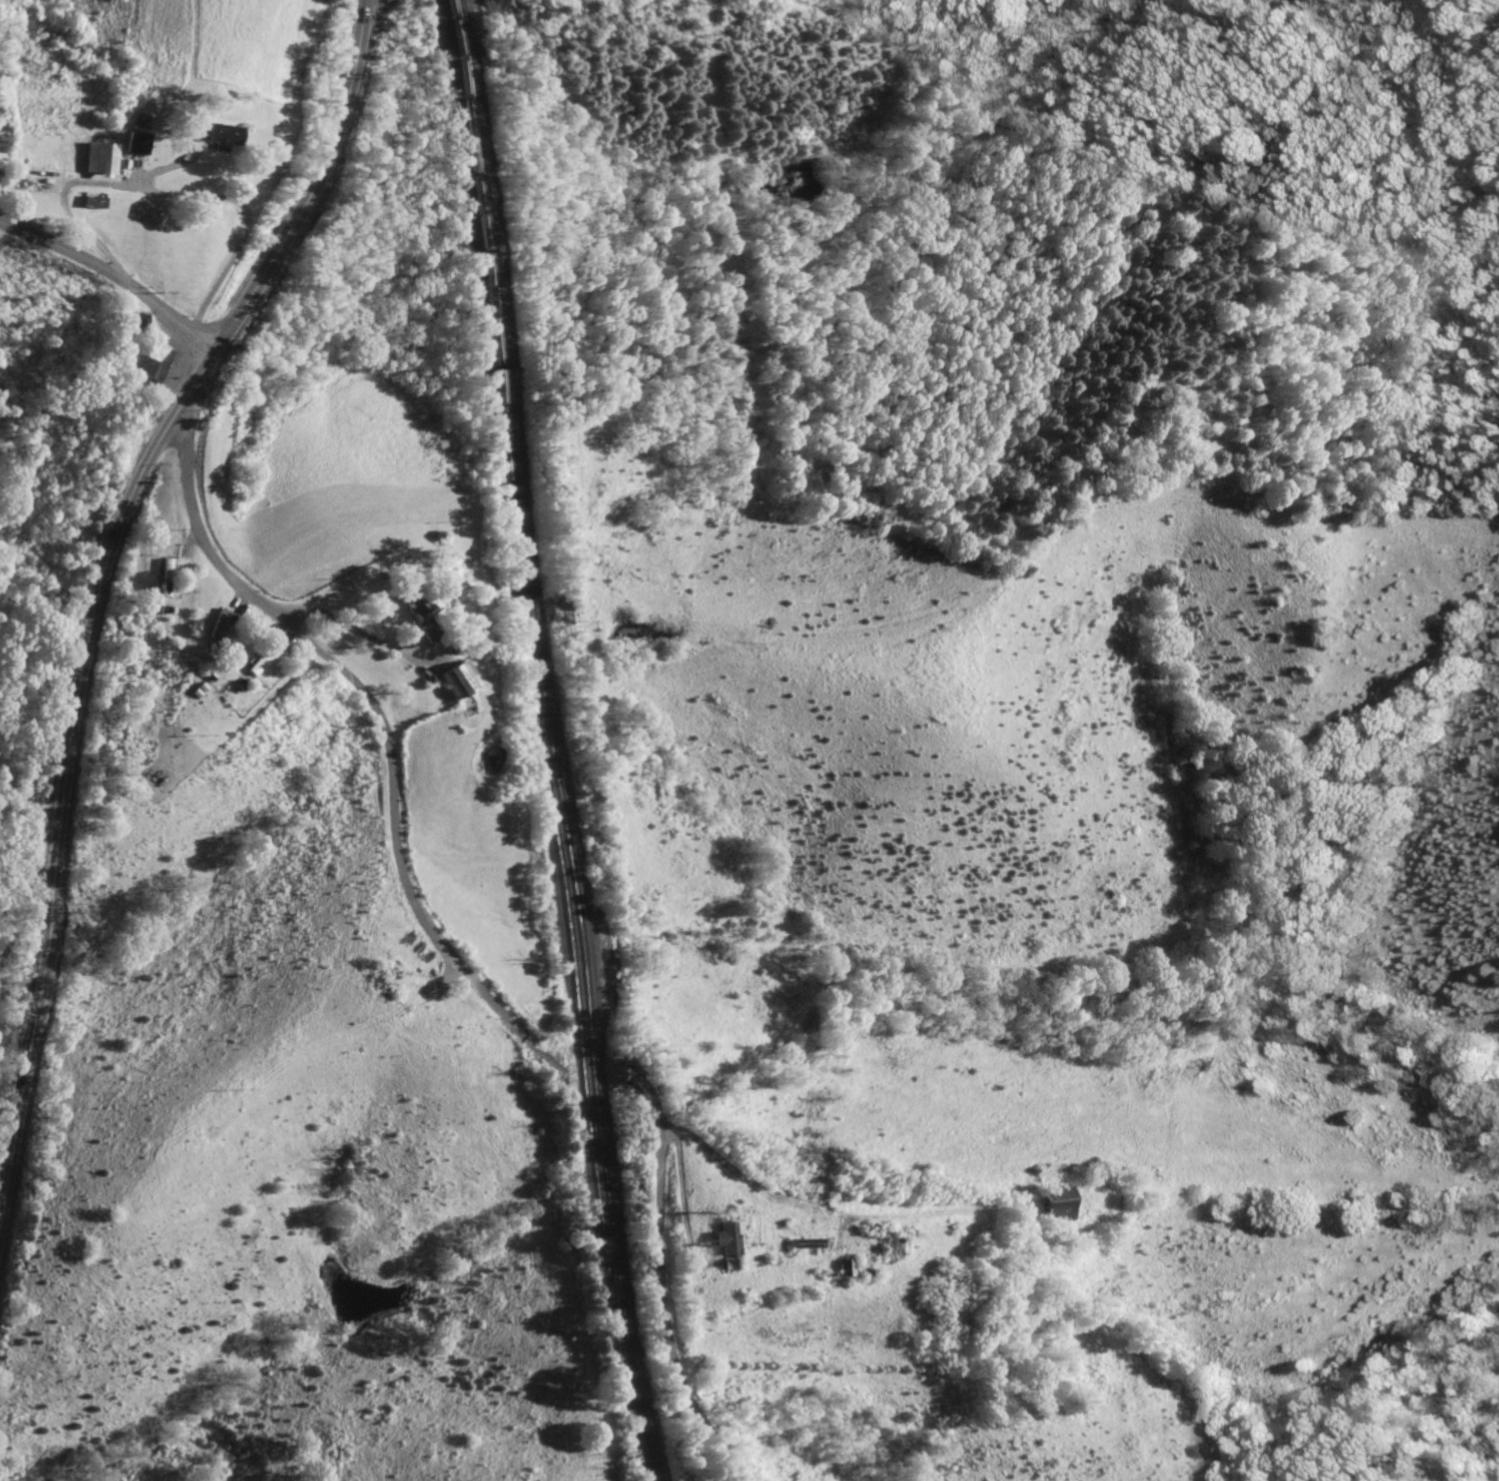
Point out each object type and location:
road: (370, 21)
building: (211, 133)
building: (98, 159)
building: (91, 200)
road: (113, 274)
building: (149, 360)
road: (101, 593)
building: (410, 602)
building: (453, 677)
road: (382, 725)
railway: (543, 741)
railway: (551, 741)
building: (1050, 1204)
building: (721, 1237)
building: (837, 1268)
road: (663, 1301)

